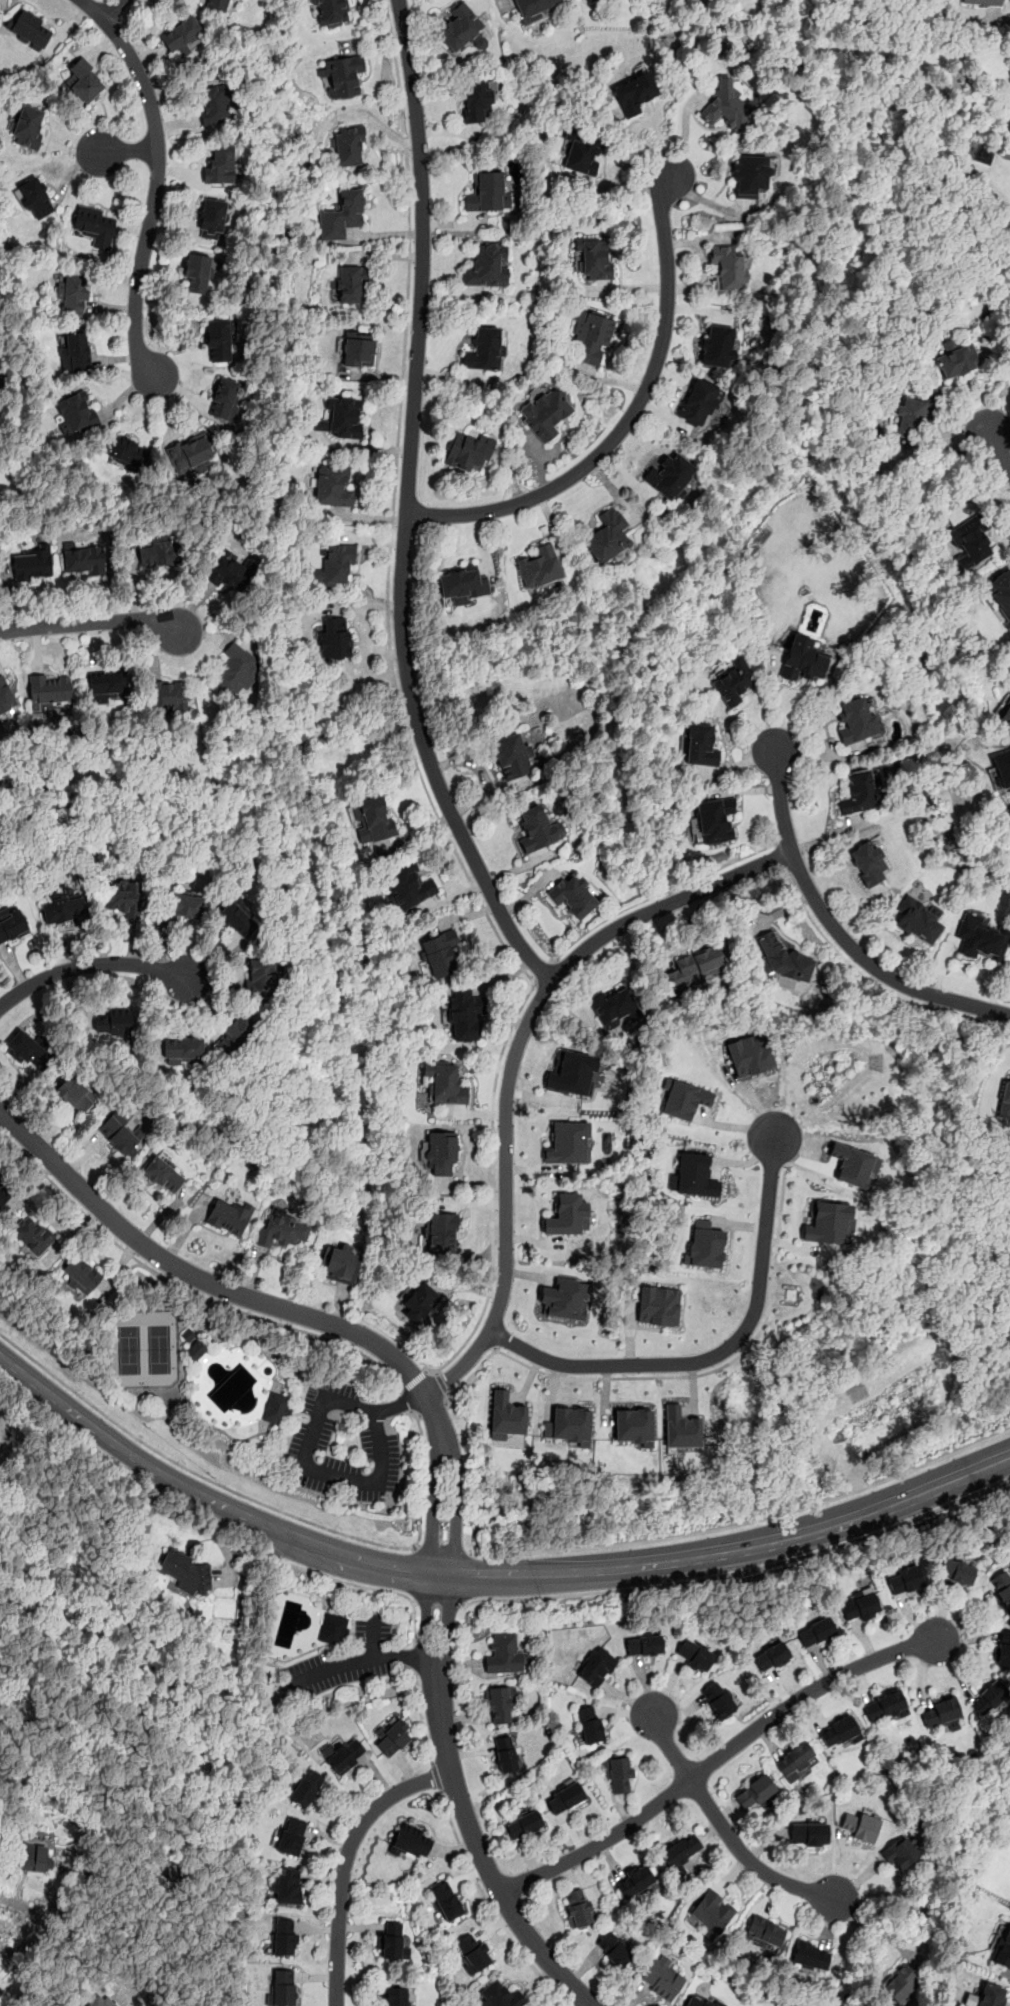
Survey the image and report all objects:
building: (586, 0)
building: (981, 3)
building: (216, 5)
road: (112, 8)
building: (534, 9)
building: (330, 12)
road: (1000, 18)
building: (460, 28)
building: (28, 29)
building: (181, 35)
building: (341, 76)
building: (84, 82)
building: (634, 93)
building: (476, 101)
building: (215, 105)
building: (727, 106)
building: (27, 126)
building: (348, 147)
road: (127, 151)
building: (582, 152)
building: (220, 165)
building: (750, 175)
road: (156, 182)
building: (487, 193)
building: (35, 198)
road: (709, 203)
building: (342, 216)
building: (212, 219)
building: (95, 226)
building: (594, 257)
building: (487, 265)
building: (727, 268)
building: (196, 274)
building: (351, 285)
building: (73, 293)
building: (219, 338)
building: (591, 339)
building: (718, 346)
building: (358, 350)
building: (485, 350)
building: (74, 351)
building: (956, 359)
building: (225, 399)
building: (698, 402)
building: (545, 412)
building: (75, 414)
building: (913, 416)
building: (342, 418)
road: (628, 419)
road: (1001, 450)
building: (127, 452)
building: (468, 452)
building: (190, 454)
building: (670, 476)
building: (333, 486)
road: (406, 507)
building: (607, 535)
building: (969, 539)
building: (158, 551)
building: (84, 559)
building: (32, 563)
building: (335, 563)
building: (540, 567)
building: (229, 570)
building: (462, 585)
building: (1000, 592)
road: (89, 624)
building: (334, 638)
building: (802, 659)
building: (236, 670)
building: (732, 681)
building: (106, 684)
building: (49, 688)
building: (168, 694)
building: (6, 698)
building: (1004, 711)
road: (401, 718)
building: (858, 720)
building: (700, 745)
building: (511, 756)
building: (1001, 770)
building: (860, 792)
road: (782, 800)
building: (371, 818)
building: (714, 818)
building: (538, 829)
road: (777, 855)
building: (867, 863)
building: (407, 885)
road: (662, 891)
building: (574, 894)
building: (125, 898)
building: (184, 903)
building: (63, 907)
building: (238, 917)
building: (918, 920)
building: (11, 923)
building: (981, 937)
building: (439, 953)
building: (779, 957)
road: (91, 965)
building: (697, 966)
road: (873, 968)
road: (542, 971)
building: (262, 976)
road: (873, 981)
building: (614, 1008)
building: (465, 1015)
building: (113, 1023)
building: (236, 1033)
building: (182, 1048)
building: (29, 1050)
building: (750, 1054)
road: (513, 1060)
building: (571, 1072)
building: (444, 1083)
building: (75, 1094)
building: (683, 1098)
building: (1004, 1100)
building: (120, 1132)
building: (568, 1143)
building: (441, 1151)
building: (850, 1164)
building: (162, 1172)
building: (693, 1175)
building: (4, 1193)
building: (229, 1215)
building: (567, 1215)
building: (827, 1222)
building: (280, 1231)
building: (33, 1234)
building: (443, 1234)
building: (704, 1246)
building: (340, 1263)
building: (82, 1273)
road: (185, 1288)
building: (564, 1298)
building: (420, 1300)
building: (658, 1305)
road: (286, 1309)
park: (143, 1348)
building: (196, 1349)
road: (719, 1352)
road: (677, 1376)
road: (414, 1380)
road: (440, 1382)
road: (381, 1397)
road: (408, 1399)
road: (402, 1402)
building: (277, 1408)
building: (505, 1415)
building: (567, 1424)
building: (634, 1426)
building: (680, 1427)
road: (311, 1469)
road: (254, 1499)
road: (745, 1522)
road: (440, 1550)
road: (742, 1570)
building: (957, 1571)
building: (187, 1572)
road: (482, 1575)
building: (904, 1579)
road: (362, 1585)
building: (1001, 1588)
road: (440, 1601)
building: (860, 1607)
building: (333, 1628)
building: (816, 1633)
building: (644, 1645)
building: (1003, 1648)
building: (505, 1654)
road: (405, 1655)
building: (694, 1655)
road: (414, 1657)
building: (772, 1657)
road: (351, 1661)
building: (596, 1666)
building: (990, 1697)
building: (718, 1698)
building: (499, 1703)
building: (885, 1706)
building: (941, 1712)
road: (420, 1718)
building: (590, 1723)
building: (839, 1731)
building: (392, 1738)
road: (669, 1747)
building: (343, 1754)
building: (505, 1754)
road: (714, 1758)
building: (796, 1760)
building: (617, 1774)
road: (436, 1778)
building: (306, 1786)
building: (756, 1793)
building: (565, 1796)
road: (462, 1809)
building: (524, 1825)
building: (859, 1825)
building: (809, 1832)
building: (291, 1836)
building: (412, 1842)
building: (680, 1850)
building: (899, 1853)
building: (34, 1856)
road: (746, 1859)
road: (345, 1860)
building: (634, 1881)
road: (90, 1885)
building: (286, 1886)
building: (446, 1901)
road: (488, 1907)
building: (578, 1909)
building: (711, 1913)
building: (763, 1931)
building: (284, 1937)
building: (390, 1940)
building: (615, 1948)
building: (1002, 1948)
building: (472, 1952)
building: (810, 1955)
building: (661, 1977)
building: (901, 1984)
building: (282, 1987)
road: (33, 1993)
building: (501, 1995)
building: (990, 1995)
building: (396, 1996)
building: (101, 2001)
building: (699, 2001)

